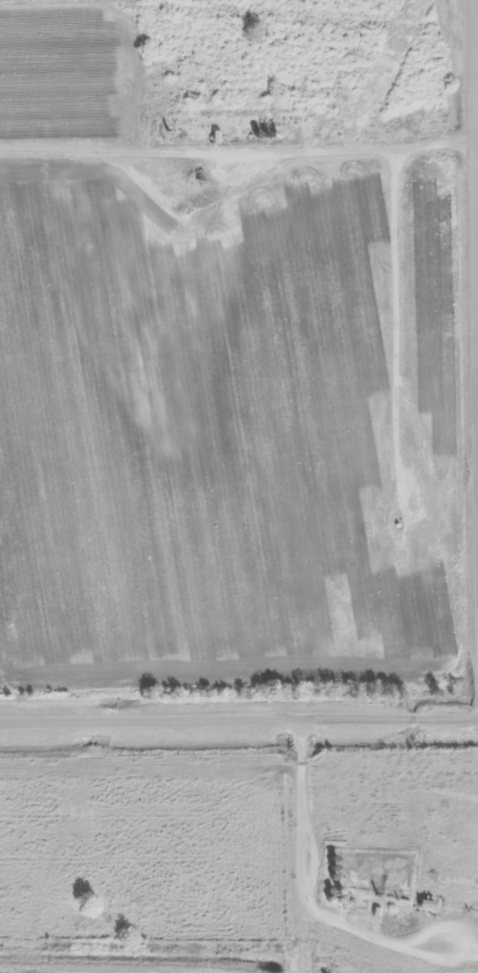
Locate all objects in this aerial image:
road: (475, 147)
road: (238, 715)
road: (303, 844)

